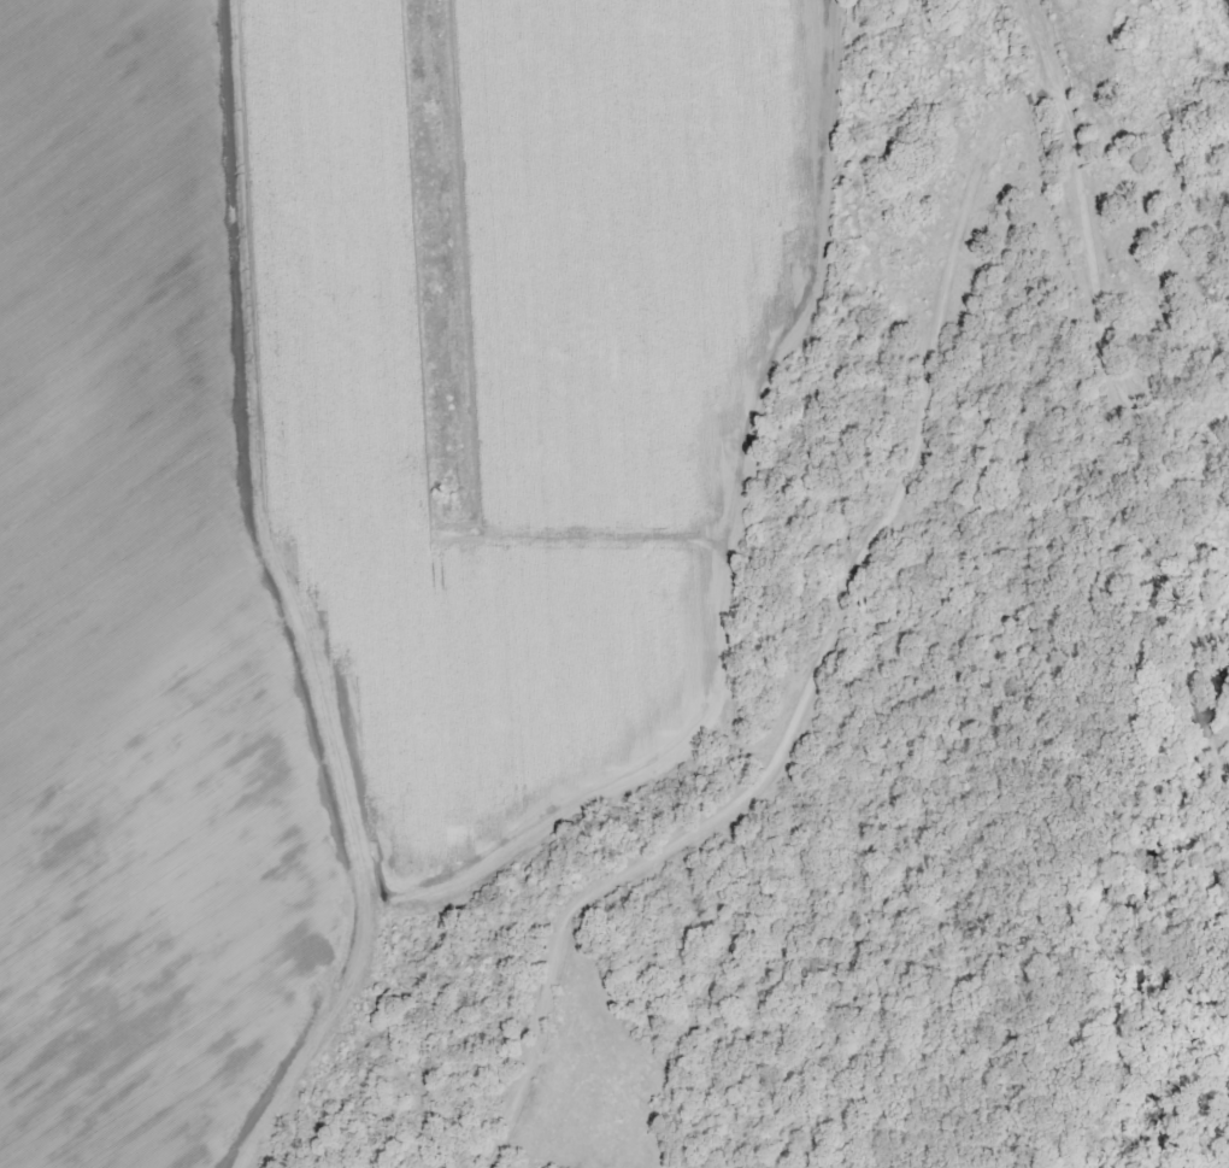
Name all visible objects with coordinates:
road: (1135, 380)

